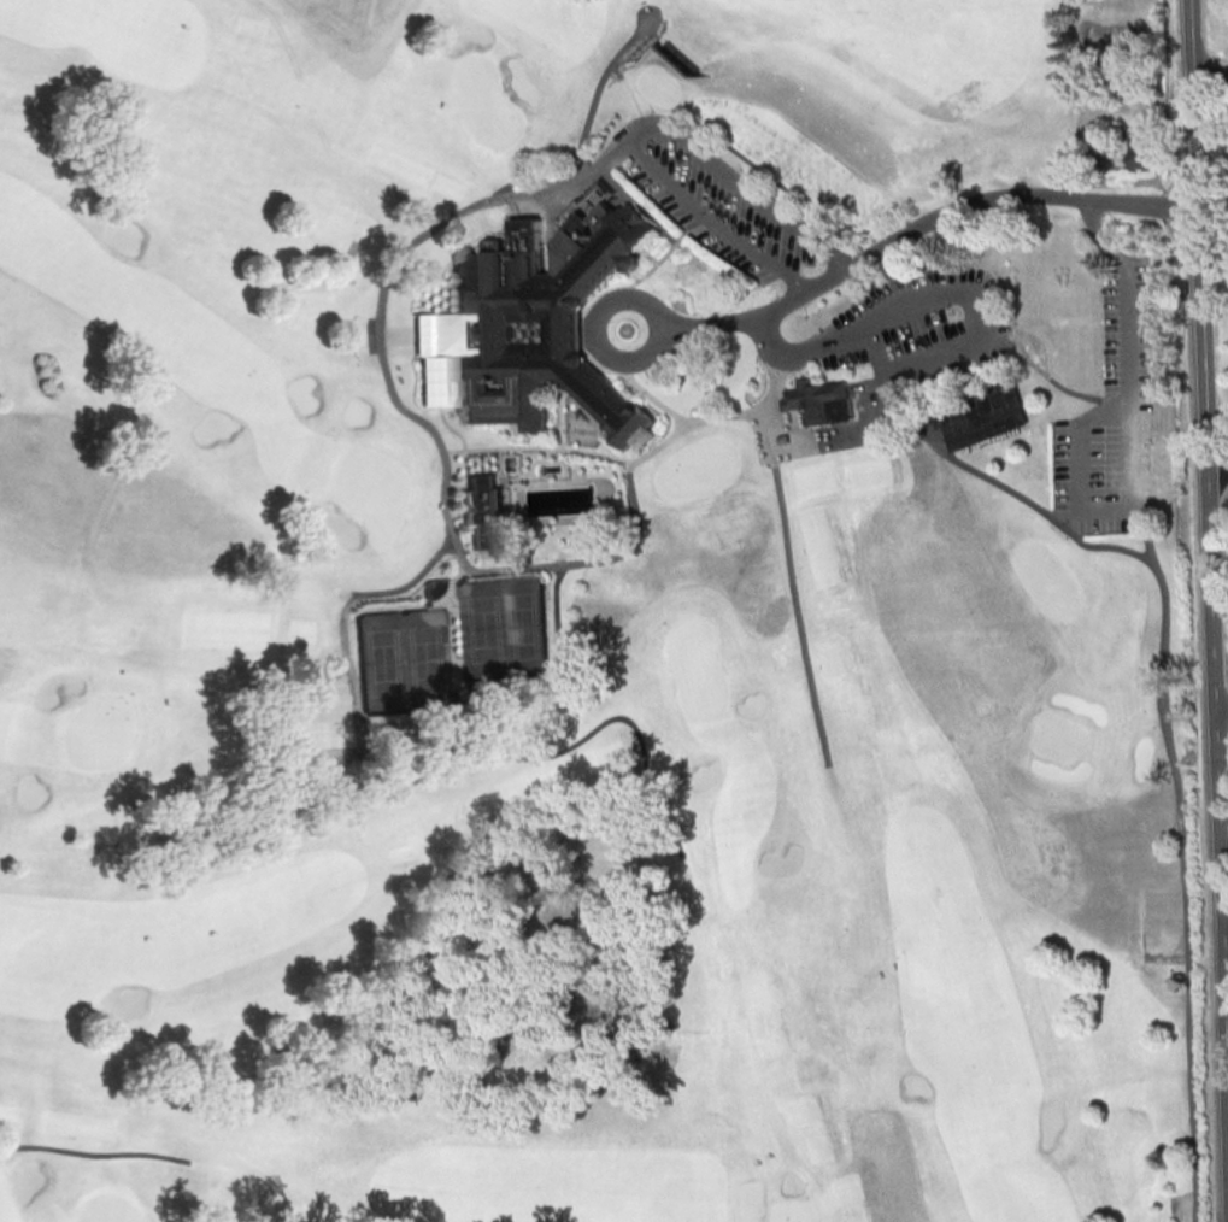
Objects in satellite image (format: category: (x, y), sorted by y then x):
road: (1191, 39)
road: (1210, 75)
road: (1193, 143)
building: (1138, 146)
road: (672, 148)
road: (580, 154)
parking lot: (707, 198)
road: (710, 219)
road: (906, 235)
road: (666, 253)
road: (650, 257)
road: (447, 286)
road: (969, 293)
road: (460, 318)
building: (548, 325)
road: (587, 325)
parking lot: (921, 331)
road: (406, 336)
road: (462, 352)
road: (1047, 378)
road: (437, 384)
road: (452, 393)
road: (653, 396)
building: (822, 403)
road: (558, 416)
building: (986, 416)
parking lot: (1109, 419)
road: (804, 425)
building: (783, 441)
road: (654, 446)
road: (536, 448)
road: (1129, 451)
road: (501, 470)
road: (980, 474)
road: (453, 488)
road: (102, 505)
building: (486, 512)
road: (445, 522)
road: (1112, 547)
road: (505, 548)
road: (474, 553)
road: (362, 599)
road: (793, 599)
park: (597, 613)
park: (504, 628)
road: (451, 631)
road: (1212, 641)
road: (563, 657)
park: (403, 663)
road: (1222, 716)
road: (623, 718)
road: (1181, 860)
road: (1227, 927)
road: (1227, 962)
road: (98, 1155)

